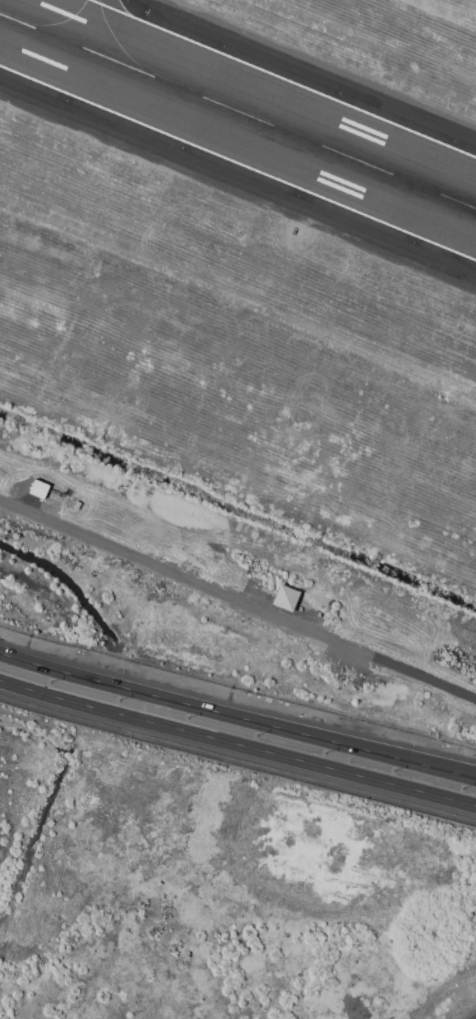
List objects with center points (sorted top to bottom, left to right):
airport taxiway: (60, 22)
airport taxiway: (117, 42)
airport runway: (238, 111)
airport: (238, 509)
building: (284, 597)
road: (238, 600)
road: (237, 719)
road: (237, 746)
road: (237, 761)

